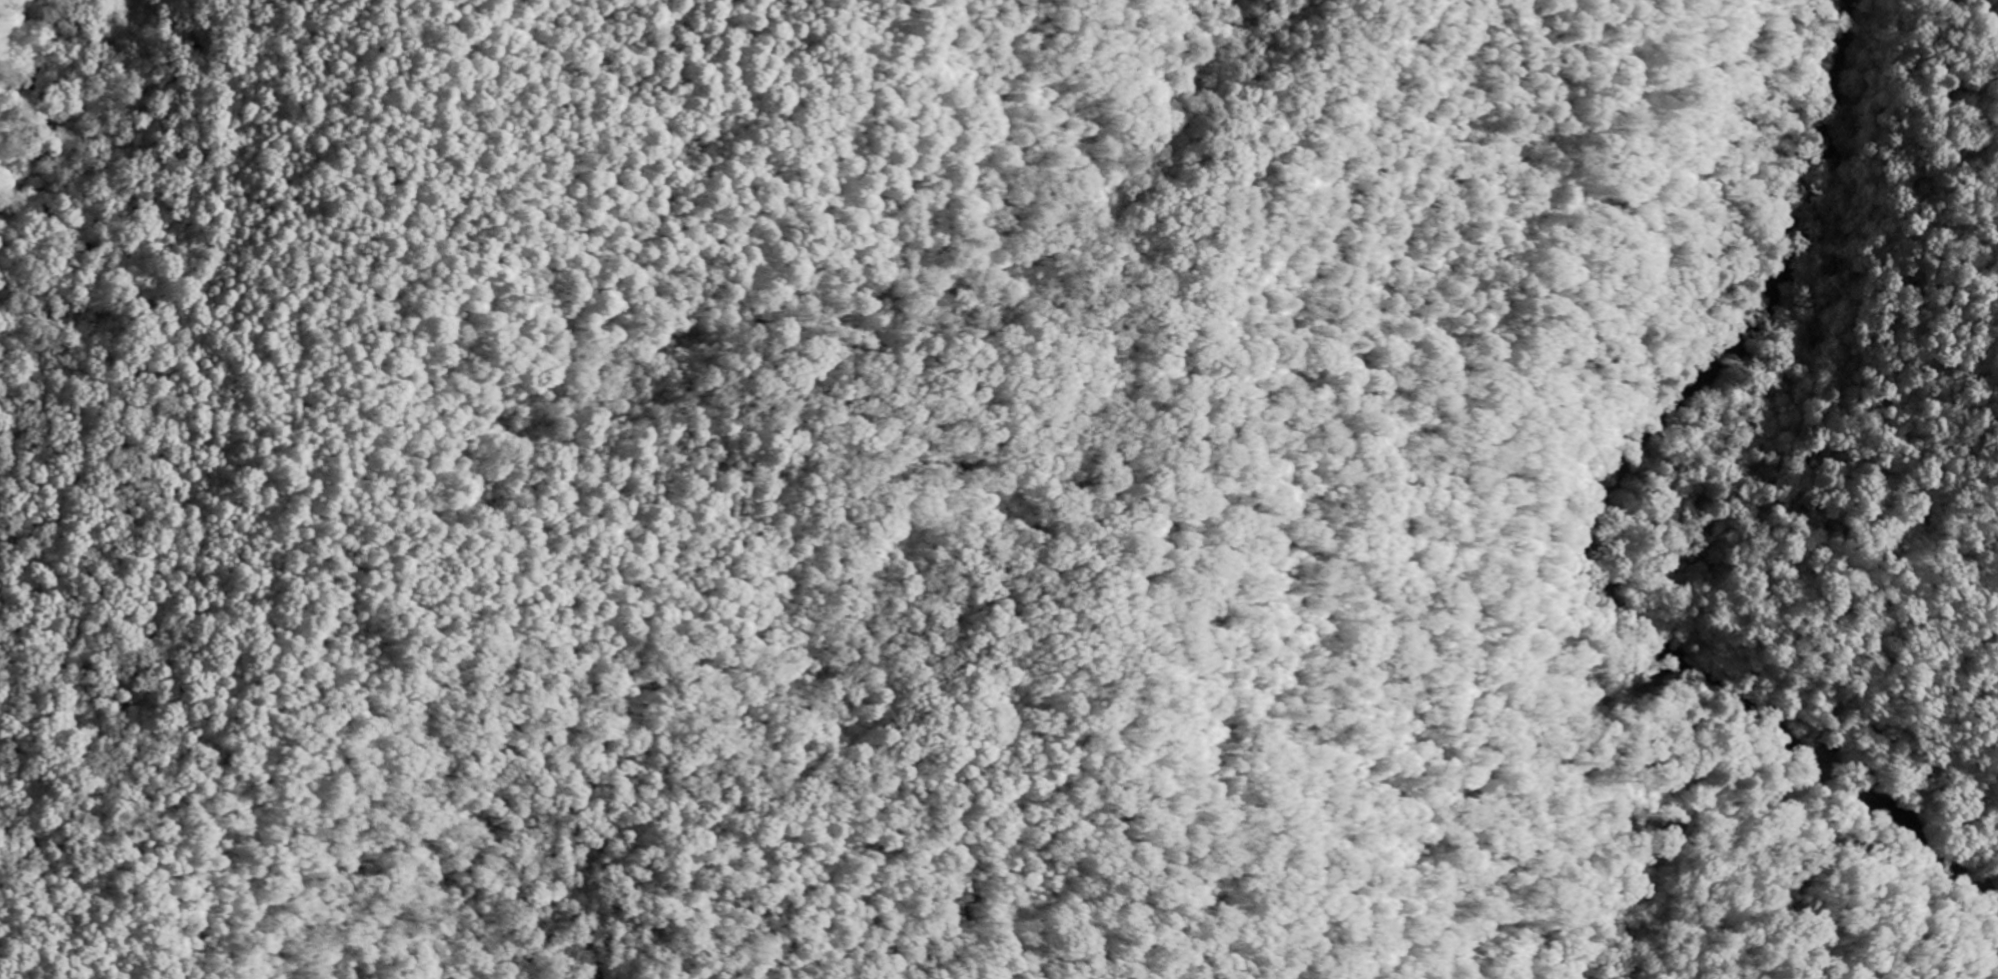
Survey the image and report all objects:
road: (1928, 408)

